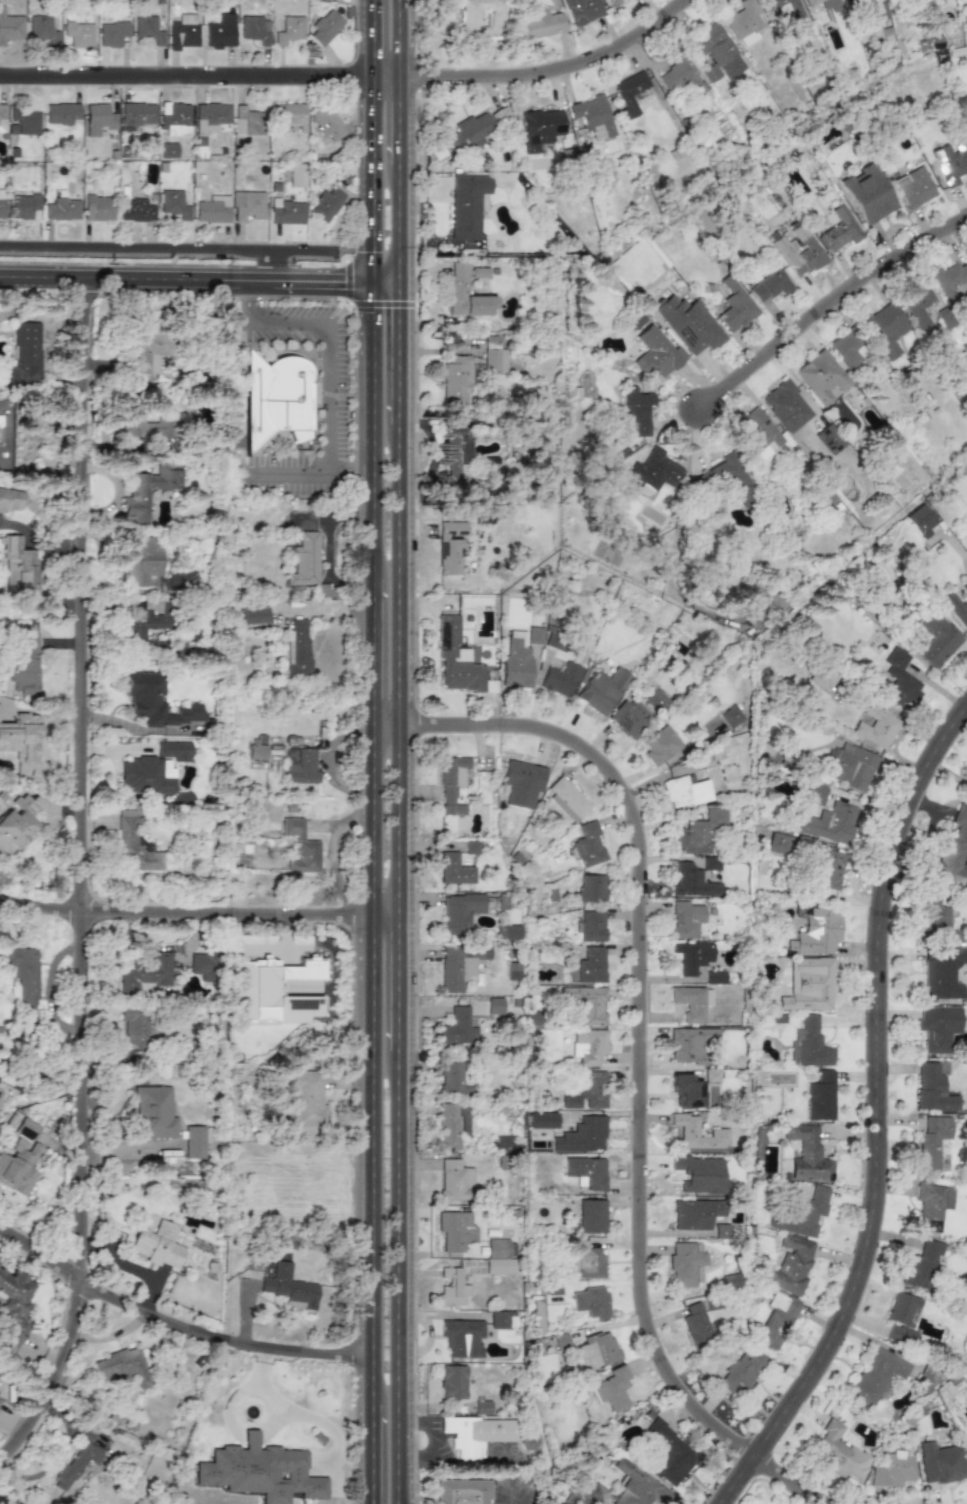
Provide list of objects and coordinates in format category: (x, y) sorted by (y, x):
building: (853, 0)
building: (613, 2)
building: (811, 2)
building: (781, 4)
building: (583, 10)
building: (879, 11)
building: (473, 19)
building: (743, 22)
building: (543, 23)
building: (10, 26)
building: (325, 27)
building: (42, 29)
building: (255, 29)
building: (289, 29)
building: (146, 30)
building: (183, 31)
building: (220, 31)
building: (79, 33)
building: (112, 33)
road: (373, 37)
road: (398, 38)
building: (716, 52)
road: (550, 68)
building: (677, 74)
road: (186, 75)
road: (386, 76)
building: (629, 92)
building: (61, 113)
building: (137, 113)
building: (289, 115)
building: (502, 115)
building: (592, 116)
building: (210, 117)
building: (2, 118)
building: (97, 118)
building: (174, 118)
building: (25, 120)
building: (246, 121)
building: (326, 122)
building: (965, 122)
road: (399, 126)
building: (540, 128)
building: (470, 132)
building: (167, 150)
building: (951, 162)
building: (296, 175)
road: (373, 179)
building: (913, 187)
building: (867, 194)
building: (1, 203)
building: (327, 203)
building: (246, 204)
building: (23, 205)
building: (174, 205)
building: (467, 205)
building: (98, 208)
building: (62, 209)
building: (212, 209)
building: (135, 210)
building: (285, 211)
road: (398, 230)
building: (840, 230)
road: (166, 248)
building: (797, 250)
road: (273, 266)
road: (186, 281)
building: (951, 281)
road: (385, 284)
building: (770, 285)
building: (458, 286)
road: (297, 297)
road: (359, 302)
building: (917, 305)
building: (734, 306)
road: (827, 306)
building: (689, 324)
building: (885, 328)
building: (848, 348)
building: (148, 350)
road: (398, 353)
building: (656, 353)
building: (23, 355)
road: (331, 356)
building: (494, 356)
building: (821, 376)
building: (274, 399)
building: (786, 406)
building: (637, 409)
building: (143, 425)
road: (373, 428)
building: (761, 434)
building: (829, 439)
building: (457, 457)
building: (654, 469)
road: (285, 471)
building: (735, 480)
building: (147, 489)
building: (10, 500)
building: (921, 520)
building: (450, 546)
building: (305, 559)
building: (142, 560)
building: (18, 569)
road: (398, 572)
building: (964, 585)
road: (323, 608)
building: (957, 609)
building: (759, 612)
building: (253, 614)
building: (146, 622)
building: (535, 635)
building: (936, 639)
building: (554, 641)
road: (373, 647)
building: (297, 648)
building: (23, 657)
building: (458, 660)
building: (516, 662)
building: (822, 676)
building: (561, 679)
building: (895, 679)
building: (602, 690)
building: (656, 700)
building: (156, 701)
building: (731, 716)
building: (629, 718)
road: (385, 723)
building: (874, 726)
road: (415, 727)
building: (21, 741)
building: (660, 745)
building: (257, 747)
building: (174, 749)
building: (302, 767)
building: (852, 767)
building: (146, 774)
building: (522, 783)
building: (451, 784)
building: (685, 791)
building: (814, 794)
building: (569, 797)
road: (373, 820)
road: (398, 820)
building: (16, 822)
building: (829, 823)
building: (699, 831)
building: (587, 843)
building: (779, 843)
building: (300, 846)
building: (134, 847)
building: (954, 848)
building: (711, 863)
building: (826, 868)
building: (454, 870)
building: (692, 881)
road: (84, 883)
building: (591, 888)
road: (185, 911)
building: (460, 911)
road: (385, 917)
building: (934, 918)
building: (686, 919)
building: (592, 926)
building: (508, 932)
building: (816, 933)
building: (693, 956)
building: (204, 965)
building: (460, 965)
building: (589, 966)
building: (513, 971)
building: (144, 972)
building: (941, 972)
building: (711, 976)
building: (23, 977)
building: (809, 985)
building: (278, 990)
road: (398, 998)
building: (692, 1002)
building: (586, 1003)
building: (495, 1005)
road: (638, 1016)
building: (136, 1025)
building: (938, 1027)
building: (458, 1028)
building: (691, 1043)
building: (809, 1044)
building: (588, 1046)
building: (453, 1079)
building: (933, 1089)
building: (587, 1091)
building: (686, 1091)
building: (820, 1096)
building: (307, 1097)
building: (154, 1112)
road: (874, 1115)
road: (414, 1124)
building: (452, 1125)
building: (718, 1132)
building: (582, 1136)
building: (195, 1140)
building: (932, 1141)
building: (502, 1143)
building: (808, 1154)
building: (21, 1158)
building: (587, 1171)
building: (701, 1174)
building: (455, 1180)
building: (931, 1205)
road: (373, 1210)
building: (695, 1213)
building: (801, 1213)
building: (591, 1216)
building: (455, 1230)
building: (157, 1244)
building: (498, 1257)
building: (585, 1260)
building: (685, 1262)
building: (790, 1265)
road: (135, 1267)
building: (920, 1267)
road: (397, 1272)
building: (729, 1281)
building: (289, 1287)
building: (452, 1288)
building: (591, 1302)
building: (12, 1310)
road: (441, 1315)
building: (902, 1318)
road: (175, 1319)
building: (499, 1320)
building: (776, 1320)
building: (695, 1323)
building: (463, 1337)
building: (595, 1351)
building: (123, 1365)
building: (741, 1370)
building: (877, 1375)
building: (453, 1382)
building: (613, 1389)
building: (0, 1398)
building: (482, 1407)
road: (299, 1413)
building: (476, 1435)
road: (434, 1441)
building: (966, 1446)
building: (838, 1452)
building: (670, 1453)
building: (940, 1463)
building: (76, 1464)
building: (893, 1470)
building: (259, 1471)
road: (789, 1480)
road: (397, 1485)
building: (638, 1487)
building: (461, 1491)
road: (512, 1497)
building: (16, 1502)

